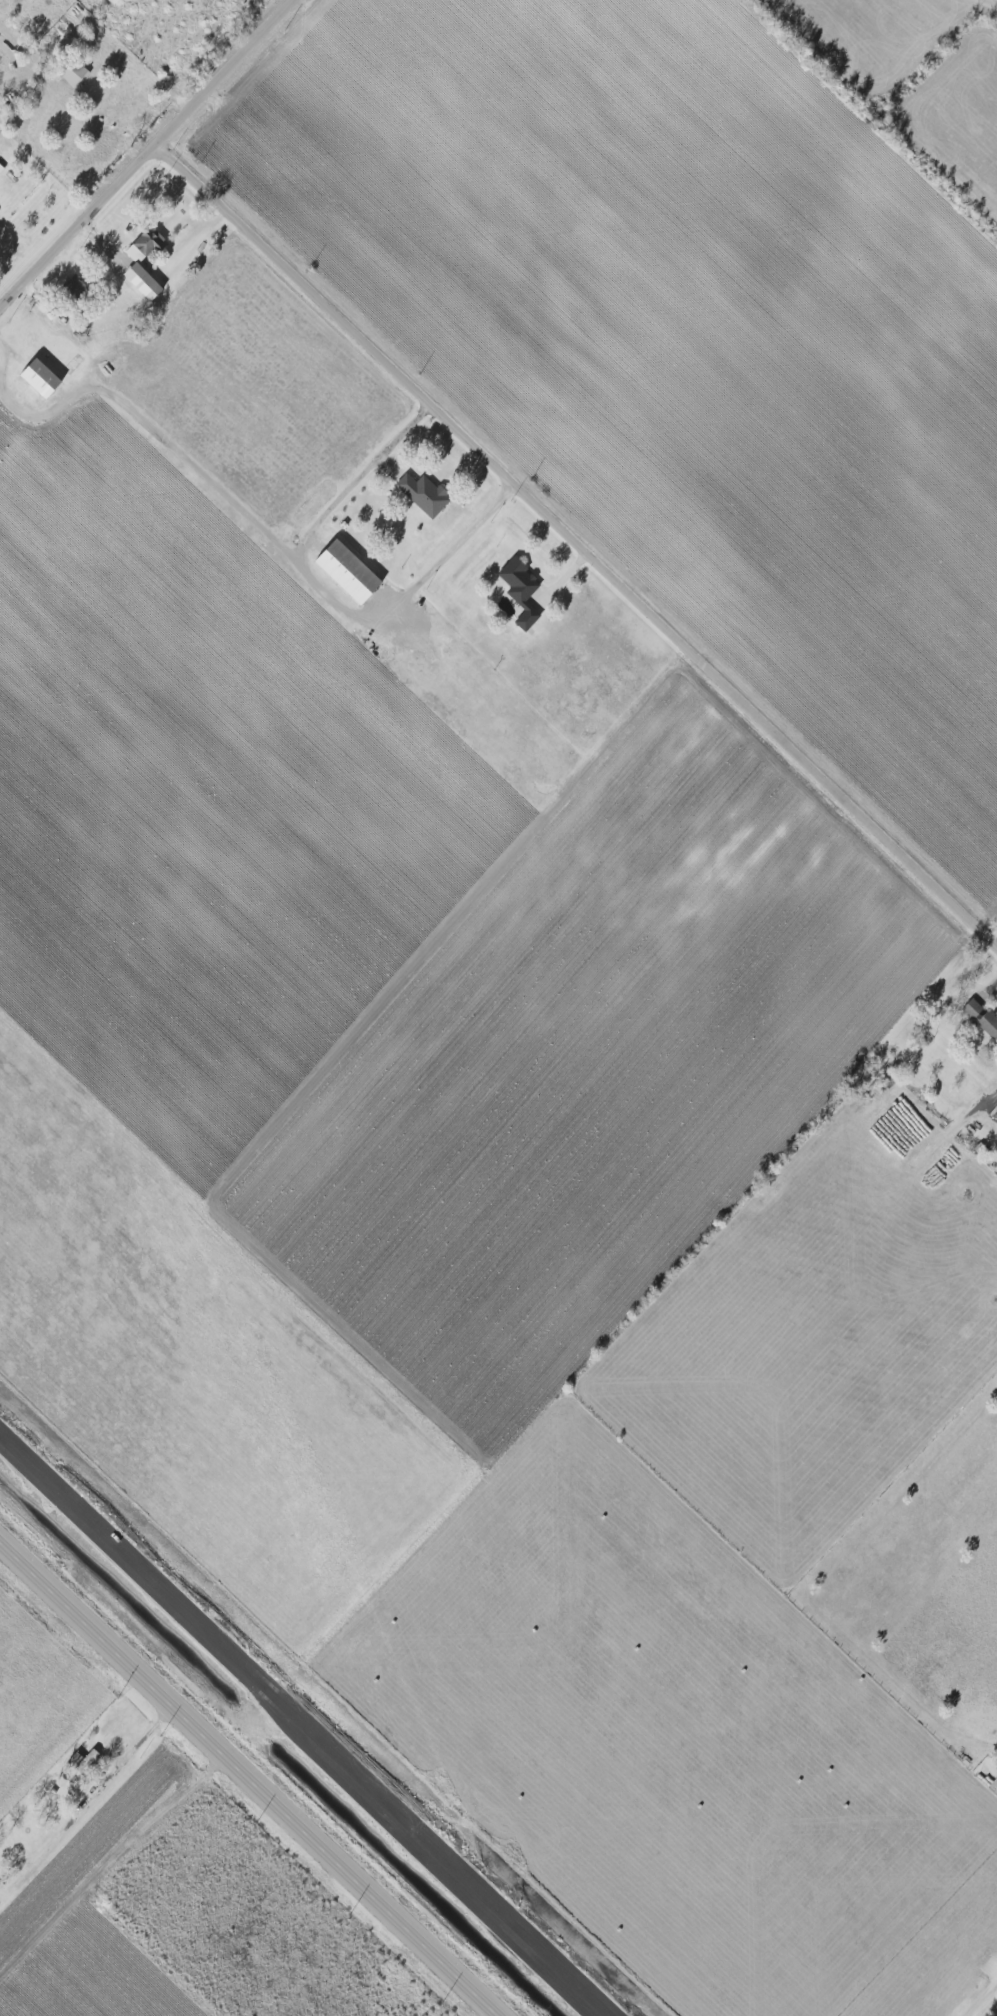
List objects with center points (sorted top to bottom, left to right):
building: (70, 74)
road: (148, 157)
building: (132, 264)
building: (34, 377)
road: (140, 418)
building: (420, 494)
road: (580, 540)
building: (342, 571)
building: (517, 591)
road: (339, 601)
building: (979, 1018)
road: (134, 1748)
road: (246, 1779)
road: (979, 1996)
building: (995, 2009)

